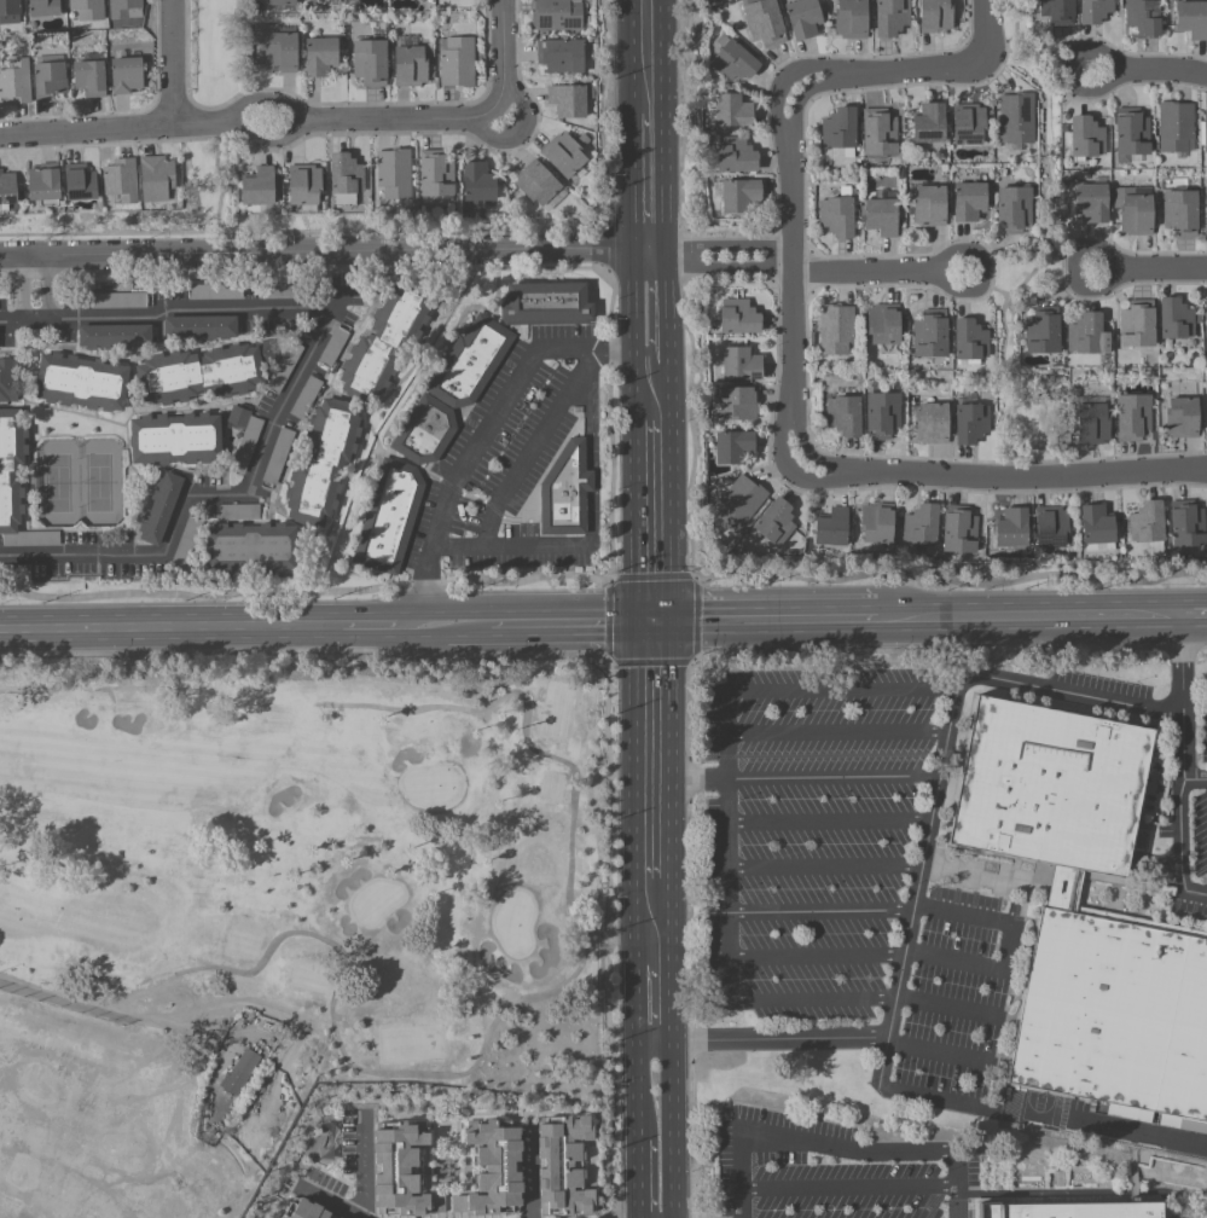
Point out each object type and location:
building: (280, 2)
building: (333, 2)
building: (43, 7)
building: (88, 8)
building: (126, 8)
road: (648, 10)
building: (1057, 11)
building: (1095, 11)
building: (10, 12)
building: (557, 14)
building: (935, 16)
building: (890, 17)
building: (802, 18)
building: (851, 19)
building: (1142, 19)
building: (1191, 19)
building: (764, 22)
building: (280, 51)
building: (561, 56)
building: (320, 57)
road: (506, 59)
building: (370, 60)
building: (735, 62)
road: (174, 63)
building: (457, 63)
building: (410, 66)
road: (648, 66)
road: (812, 68)
road: (945, 69)
road: (1148, 70)
building: (91, 75)
building: (126, 75)
building: (50, 76)
building: (16, 81)
road: (826, 86)
building: (568, 100)
road: (777, 110)
building: (732, 111)
road: (796, 115)
building: (1017, 117)
road: (253, 121)
building: (929, 123)
building: (968, 124)
building: (1174, 127)
building: (840, 130)
building: (878, 133)
building: (1130, 134)
building: (1203, 134)
building: (1085, 138)
building: (563, 155)
building: (736, 156)
building: (393, 173)
building: (435, 174)
building: (156, 178)
building: (344, 179)
building: (121, 180)
building: (80, 182)
building: (477, 182)
building: (536, 182)
road: (650, 184)
building: (45, 185)
building: (303, 185)
building: (257, 187)
building: (7, 190)
building: (739, 196)
building: (968, 202)
building: (1091, 203)
building: (929, 205)
building: (1012, 209)
building: (1133, 210)
building: (881, 213)
building: (1180, 213)
building: (1205, 213)
building: (837, 214)
road: (723, 244)
road: (1048, 251)
road: (324, 255)
road: (341, 268)
road: (723, 268)
road: (880, 273)
road: (1149, 274)
road: (22, 278)
road: (794, 278)
road: (50, 286)
road: (986, 286)
building: (214, 291)
building: (279, 291)
building: (120, 301)
building: (542, 307)
road: (651, 309)
road: (23, 311)
road: (181, 311)
building: (738, 317)
building: (1176, 319)
building: (883, 324)
building: (1137, 324)
building: (1206, 326)
building: (199, 327)
building: (835, 330)
building: (1041, 331)
building: (929, 335)
building: (1087, 335)
building: (115, 336)
building: (969, 342)
building: (383, 344)
building: (332, 348)
building: (741, 364)
building: (469, 365)
building: (284, 366)
building: (203, 373)
building: (7, 381)
building: (81, 382)
road: (654, 393)
building: (306, 398)
building: (738, 402)
building: (845, 416)
building: (882, 416)
building: (1206, 416)
building: (1132, 417)
building: (1182, 418)
road: (788, 419)
building: (932, 423)
building: (970, 423)
building: (1091, 424)
road: (484, 431)
building: (422, 434)
building: (244, 436)
building: (175, 439)
building: (732, 447)
building: (278, 456)
building: (323, 462)
road: (516, 471)
road: (1029, 478)
road: (836, 482)
building: (16, 485)
building: (563, 494)
road: (204, 495)
building: (741, 503)
building: (159, 509)
building: (237, 511)
building: (385, 520)
road: (655, 522)
building: (773, 523)
building: (876, 523)
building: (921, 524)
building: (1186, 524)
building: (1050, 527)
building: (1148, 527)
building: (831, 528)
building: (1011, 528)
building: (1096, 529)
building: (958, 530)
building: (186, 543)
building: (250, 549)
building: (14, 572)
road: (1195, 615)
road: (1029, 619)
road: (766, 622)
traffic signals: (656, 623)
road: (573, 625)
road: (468, 626)
road: (377, 627)
road: (429, 627)
road: (170, 630)
road: (727, 714)
road: (837, 735)
road: (1186, 746)
road: (654, 760)
road: (834, 779)
building: (1046, 784)
road: (932, 812)
road: (829, 824)
road: (1184, 835)
road: (825, 868)
park: (285, 910)
road: (820, 912)
road: (652, 918)
road: (1010, 949)
road: (730, 976)
road: (655, 990)
road: (945, 1008)
building: (1114, 1019)
road: (932, 1050)
building: (238, 1071)
road: (637, 1124)
road: (672, 1126)
road: (838, 1149)
building: (562, 1165)
building: (492, 1167)
building: (399, 1168)
road: (364, 1170)
road: (528, 1173)
road: (847, 1188)
road: (335, 1203)
building: (304, 1208)
building: (1070, 1211)

